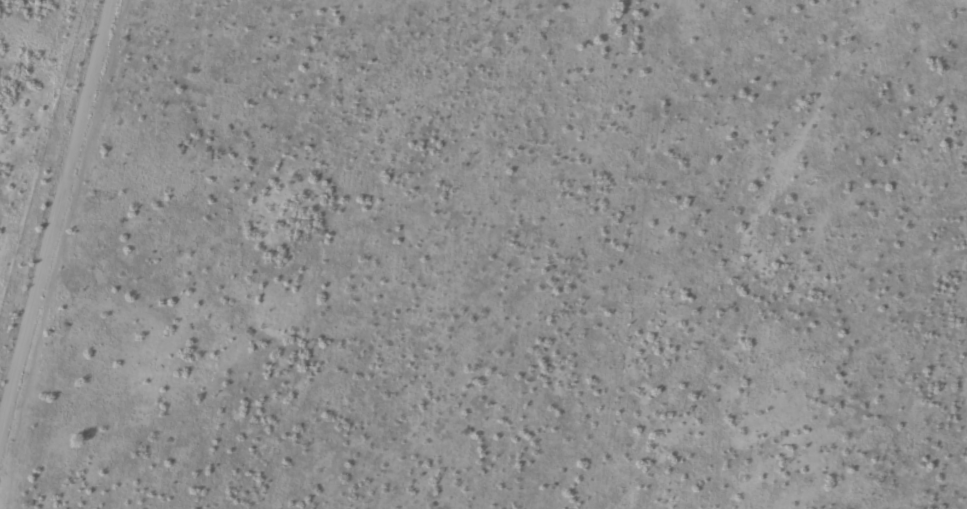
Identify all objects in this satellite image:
road: (40, 198)

